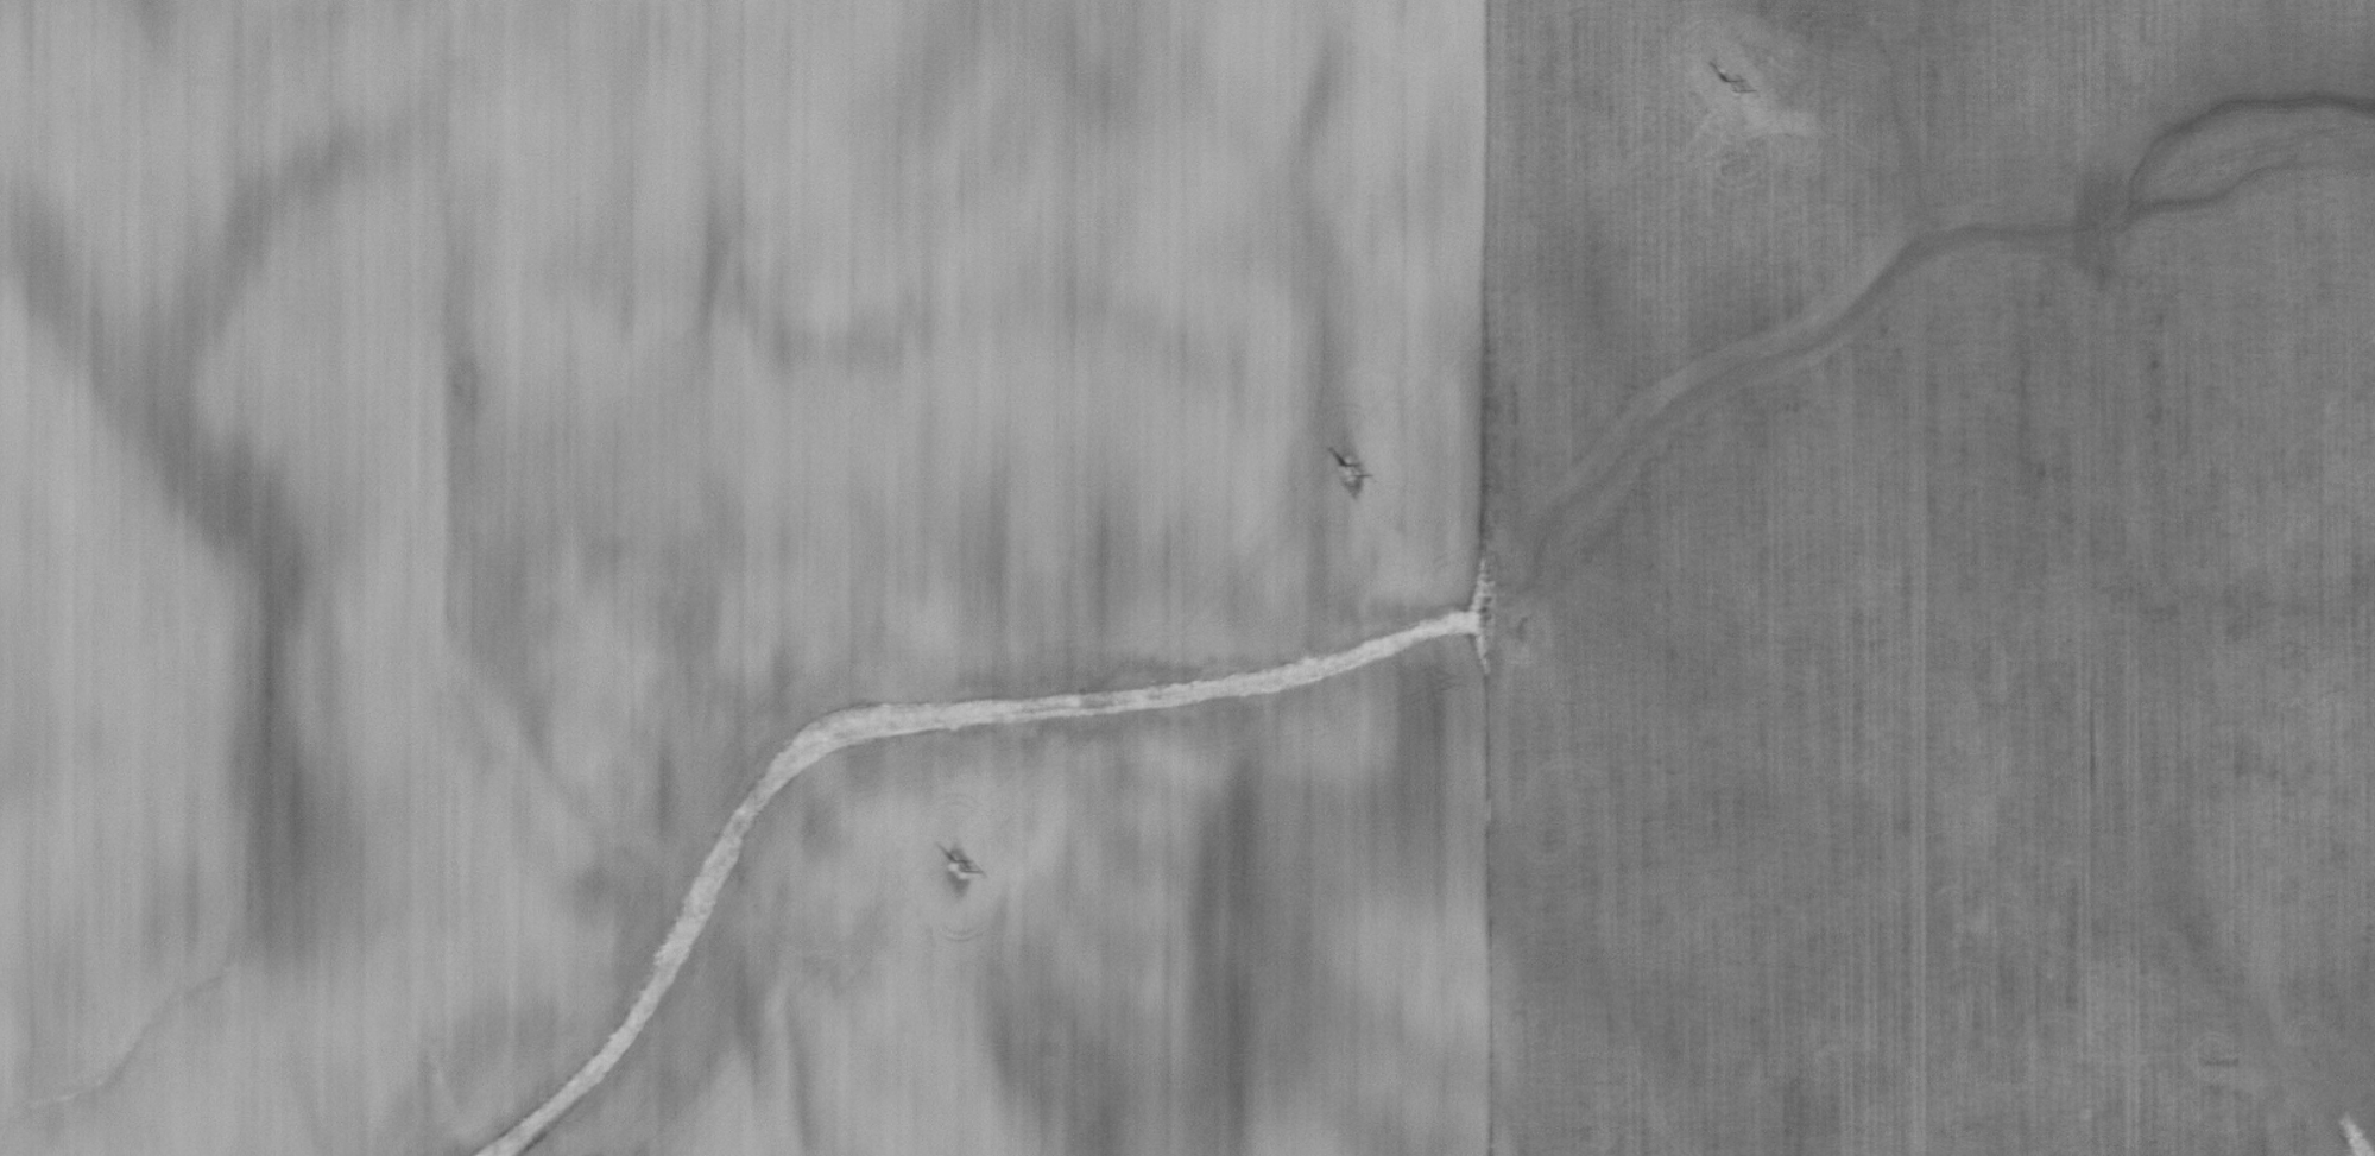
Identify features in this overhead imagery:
power tower: (1729, 86)
power tower: (1347, 469)
power tower: (953, 867)

